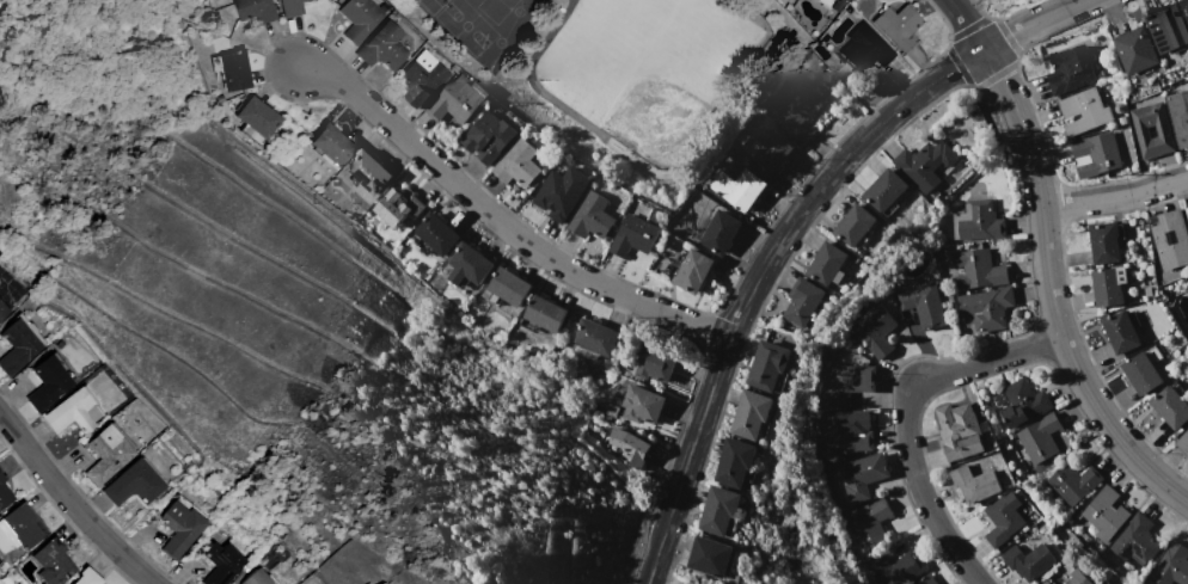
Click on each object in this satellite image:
building: (829, 5)
building: (1184, 6)
building: (292, 7)
building: (253, 10)
building: (360, 18)
road: (1035, 23)
road: (967, 24)
building: (898, 26)
building: (1169, 29)
building: (382, 47)
building: (1137, 50)
building: (865, 51)
building: (821, 53)
building: (1070, 68)
building: (233, 70)
building: (422, 78)
building: (457, 100)
building: (796, 109)
building: (1083, 110)
building: (1178, 115)
building: (258, 118)
building: (1163, 131)
building: (488, 137)
building: (332, 143)
building: (770, 152)
building: (1096, 154)
building: (518, 162)
building: (924, 164)
building: (369, 171)
building: (739, 188)
building: (886, 191)
building: (559, 196)
road: (1114, 197)
building: (399, 204)
building: (1187, 208)
building: (1187, 211)
building: (593, 217)
building: (978, 221)
road: (498, 222)
building: (853, 226)
building: (437, 233)
building: (719, 233)
building: (633, 235)
building: (1170, 238)
building: (1106, 241)
building: (827, 264)
building: (469, 265)
building: (691, 270)
building: (978, 270)
road: (755, 277)
building: (1108, 285)
building: (507, 287)
road: (1049, 294)
building: (803, 302)
building: (921, 305)
building: (985, 308)
building: (2, 311)
building: (546, 313)
building: (875, 330)
building: (1121, 332)
building: (595, 337)
building: (17, 348)
building: (654, 363)
building: (770, 367)
building: (1143, 370)
building: (847, 382)
building: (48, 385)
building: (1021, 401)
building: (642, 402)
building: (1170, 406)
building: (71, 412)
building: (752, 413)
road: (905, 417)
building: (846, 430)
building: (960, 431)
building: (1039, 438)
building: (1183, 442)
building: (630, 447)
building: (106, 455)
building: (735, 462)
building: (863, 475)
building: (1073, 481)
building: (974, 484)
building: (133, 485)
building: (5, 494)
road: (76, 502)
building: (718, 510)
building: (1104, 514)
building: (1003, 517)
building: (869, 525)
building: (24, 527)
building: (180, 527)
building: (1135, 540)
building: (712, 558)
building: (1028, 561)
building: (53, 563)
building: (222, 564)
building: (1171, 565)
building: (895, 568)
building: (86, 577)
building: (256, 578)
building: (1077, 578)
building: (927, 579)
building: (1046, 582)

